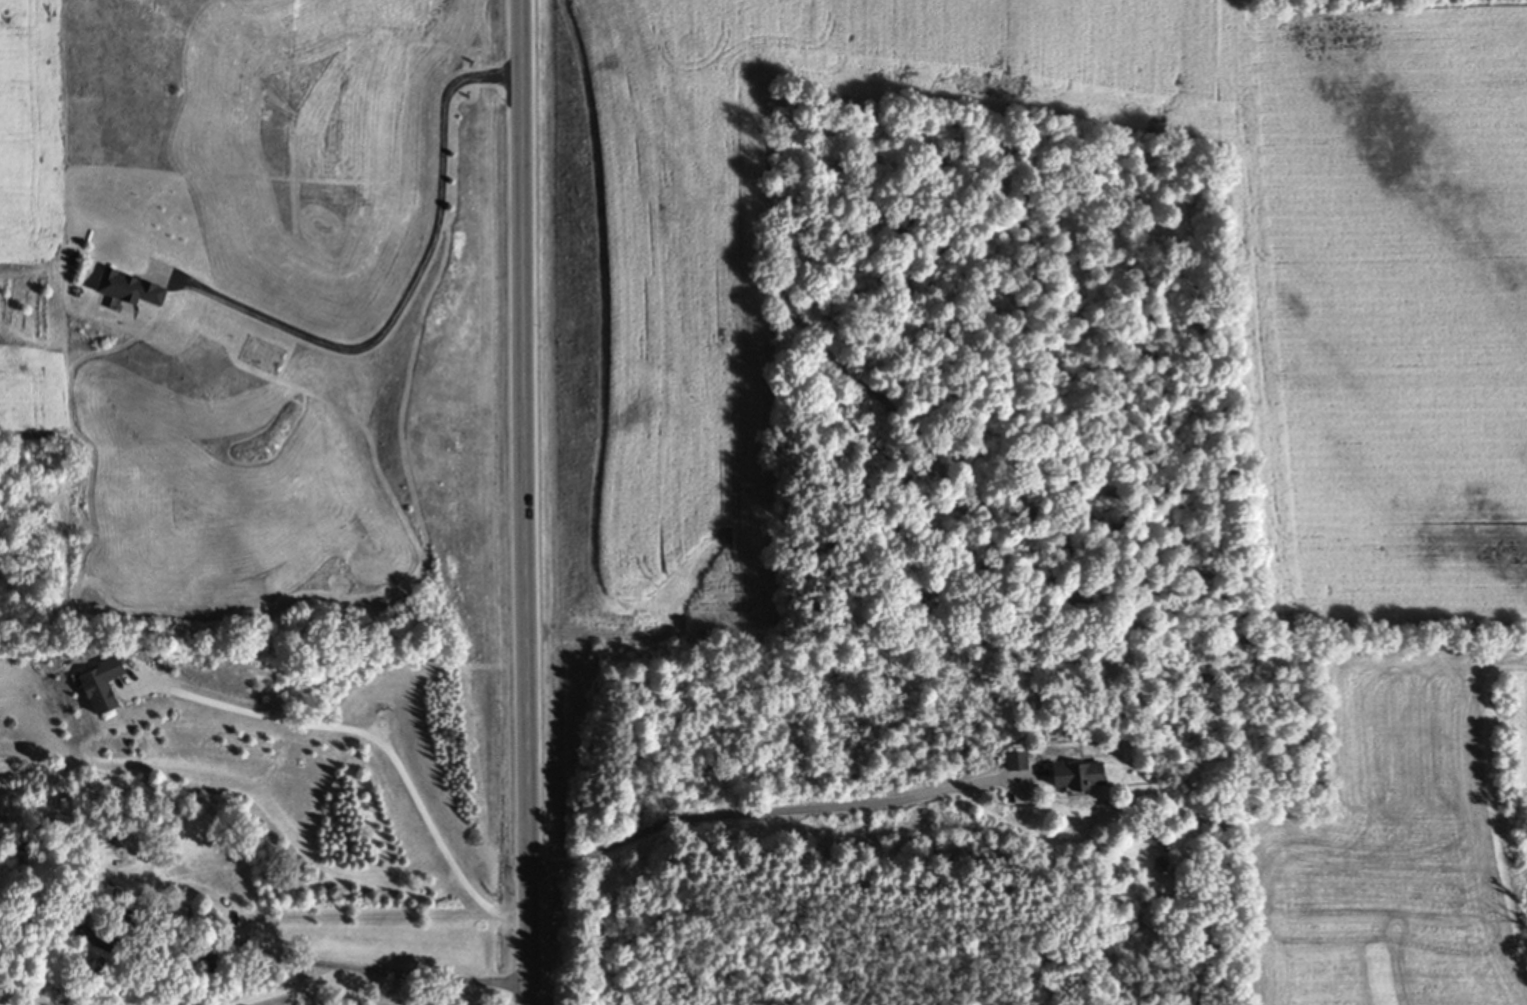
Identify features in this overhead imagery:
road: (410, 285)
building: (136, 288)
road: (527, 502)
building: (106, 685)
road: (383, 738)
building: (1083, 777)
road: (780, 808)
building: (23, 846)
road: (316, 915)
road: (377, 970)
road: (2, 1004)

